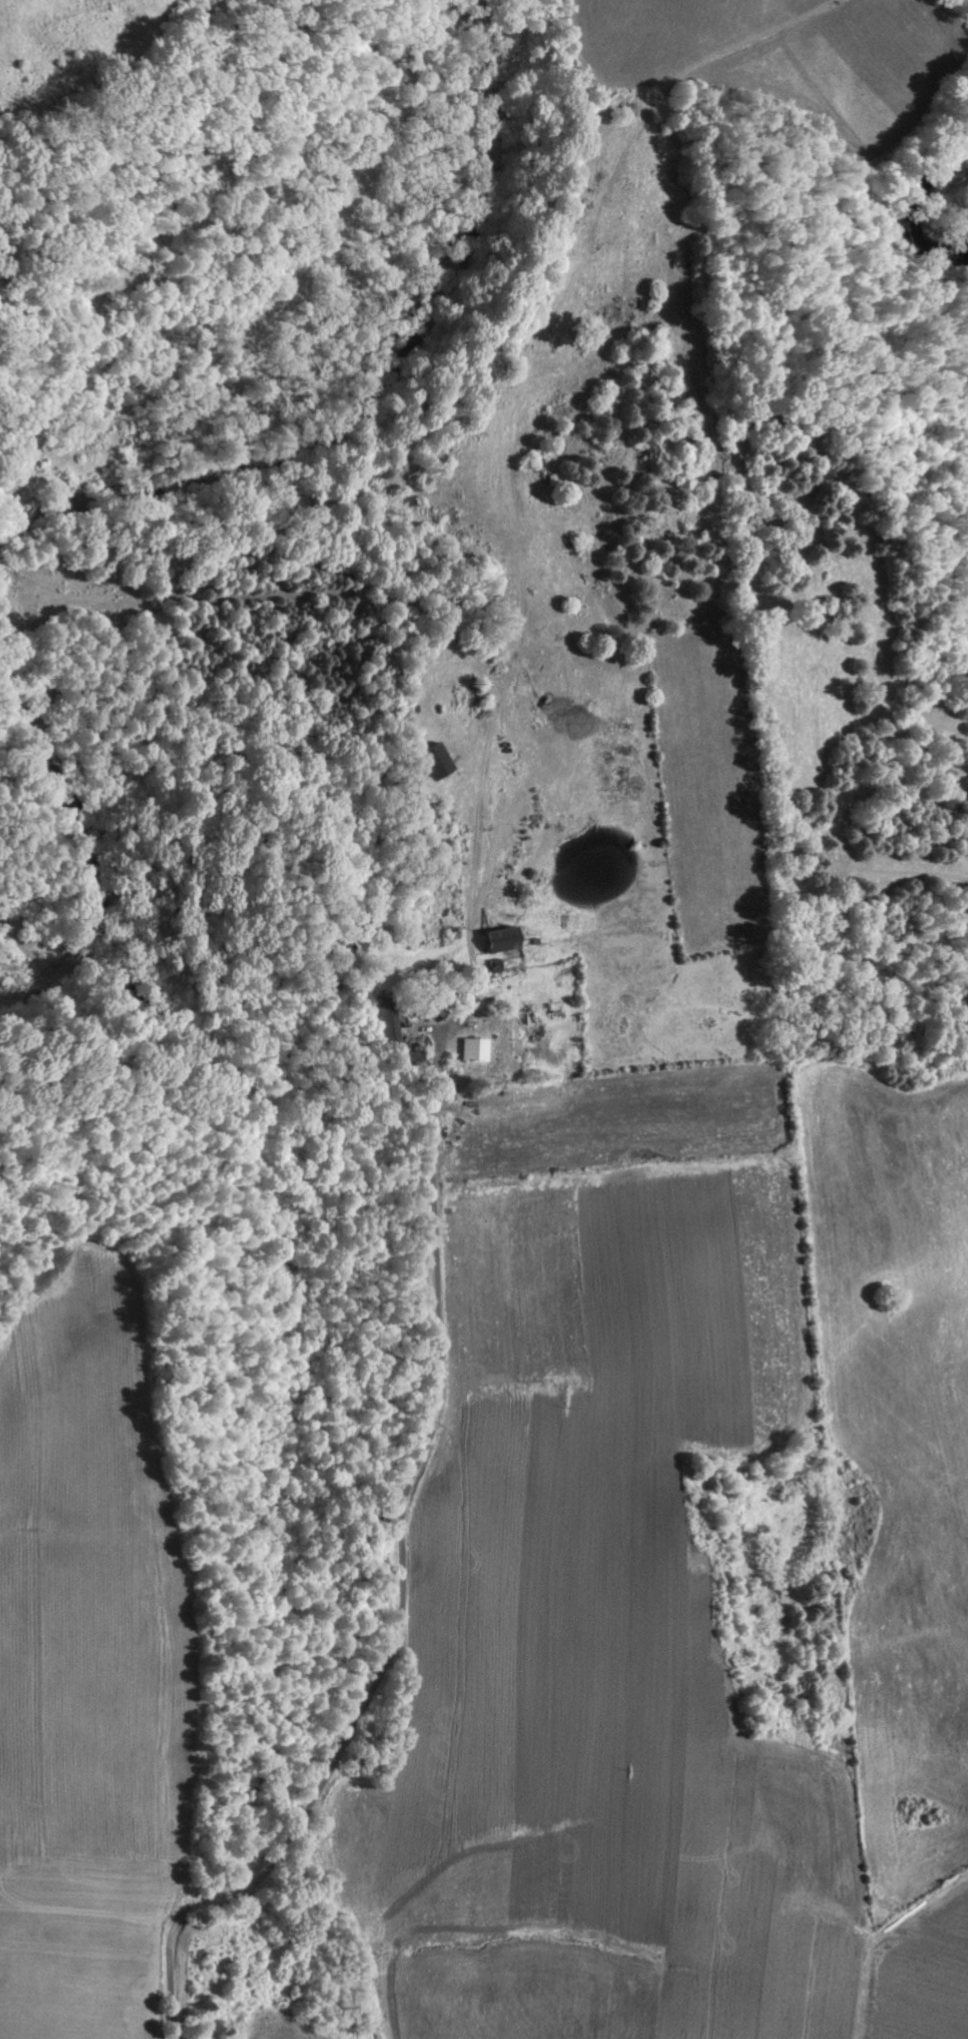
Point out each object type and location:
building: (441, 759)
building: (507, 937)
building: (391, 1019)
building: (479, 1048)
road: (402, 1582)

